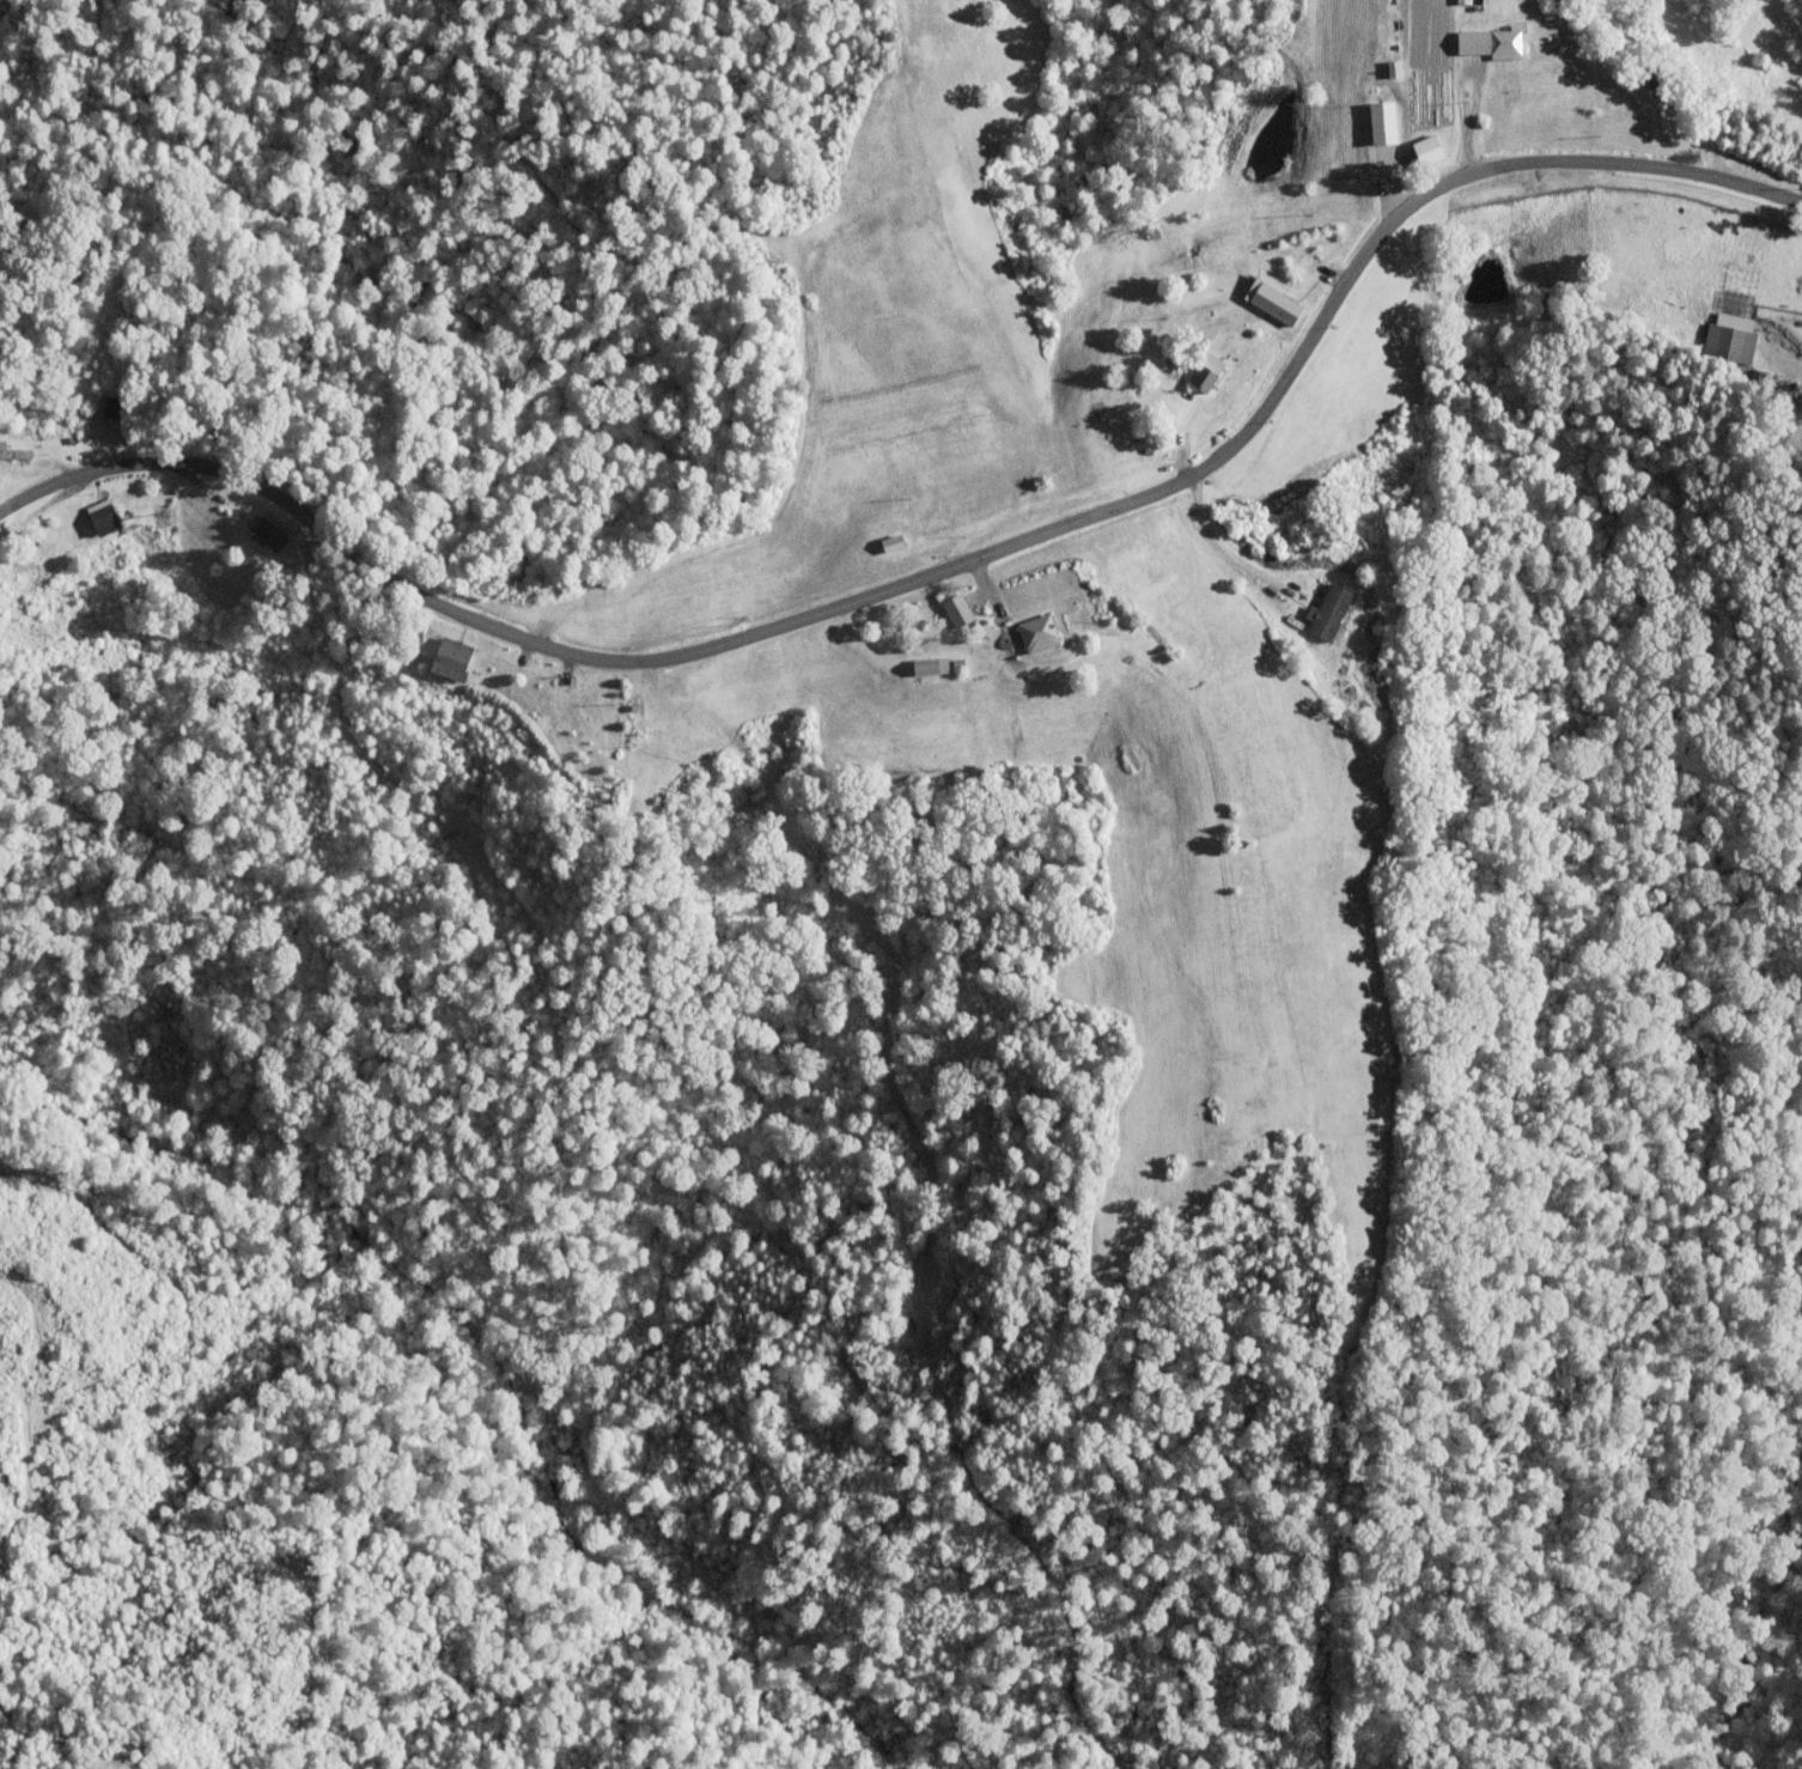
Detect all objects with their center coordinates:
building: (1473, 1)
building: (1487, 43)
building: (1381, 123)
building: (1270, 298)
building: (1727, 341)
road: (1784, 363)
building: (1205, 370)
building: (13, 451)
building: (102, 516)
building: (268, 533)
building: (890, 541)
road: (1228, 555)
road: (944, 567)
building: (955, 609)
building: (1328, 610)
building: (1037, 632)
building: (450, 657)
building: (927, 664)

